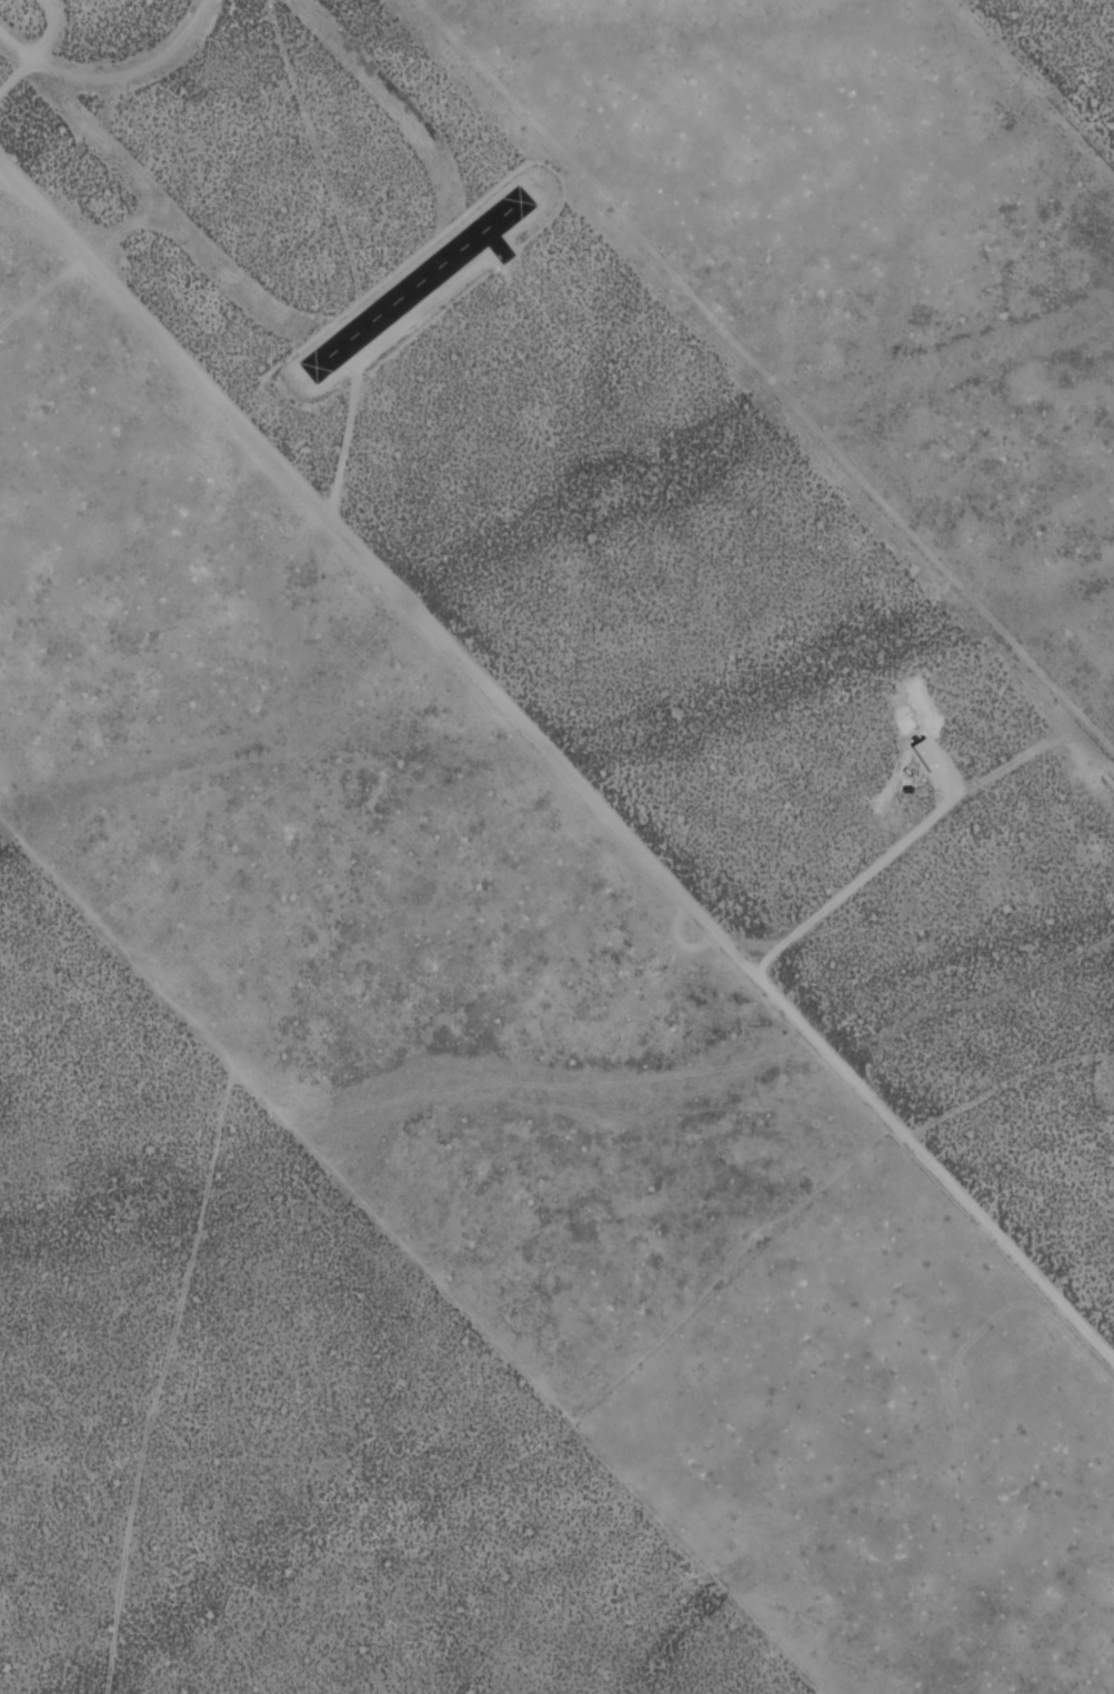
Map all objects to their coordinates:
airport taxiway: (496, 242)
airport runway: (417, 281)
airport: (426, 290)
road: (556, 763)
road: (197, 1688)

